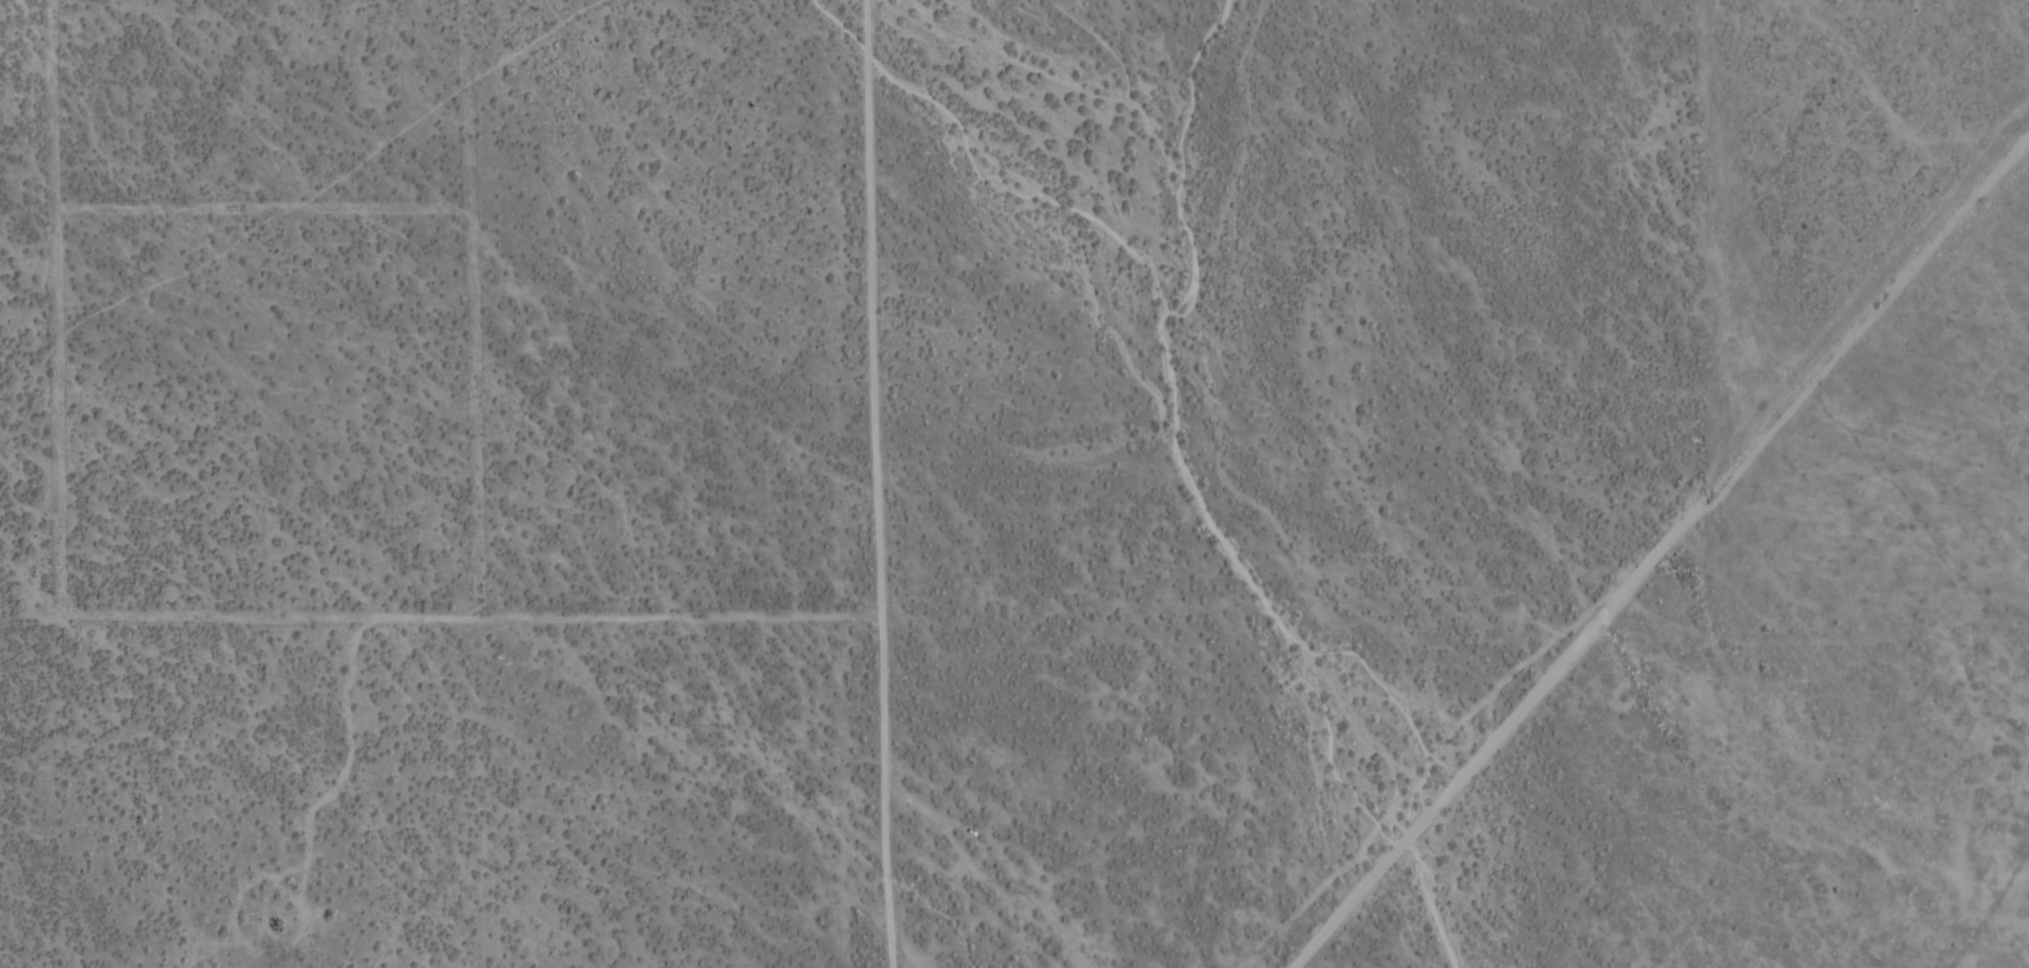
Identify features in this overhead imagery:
road: (1665, 557)
road: (888, 795)

